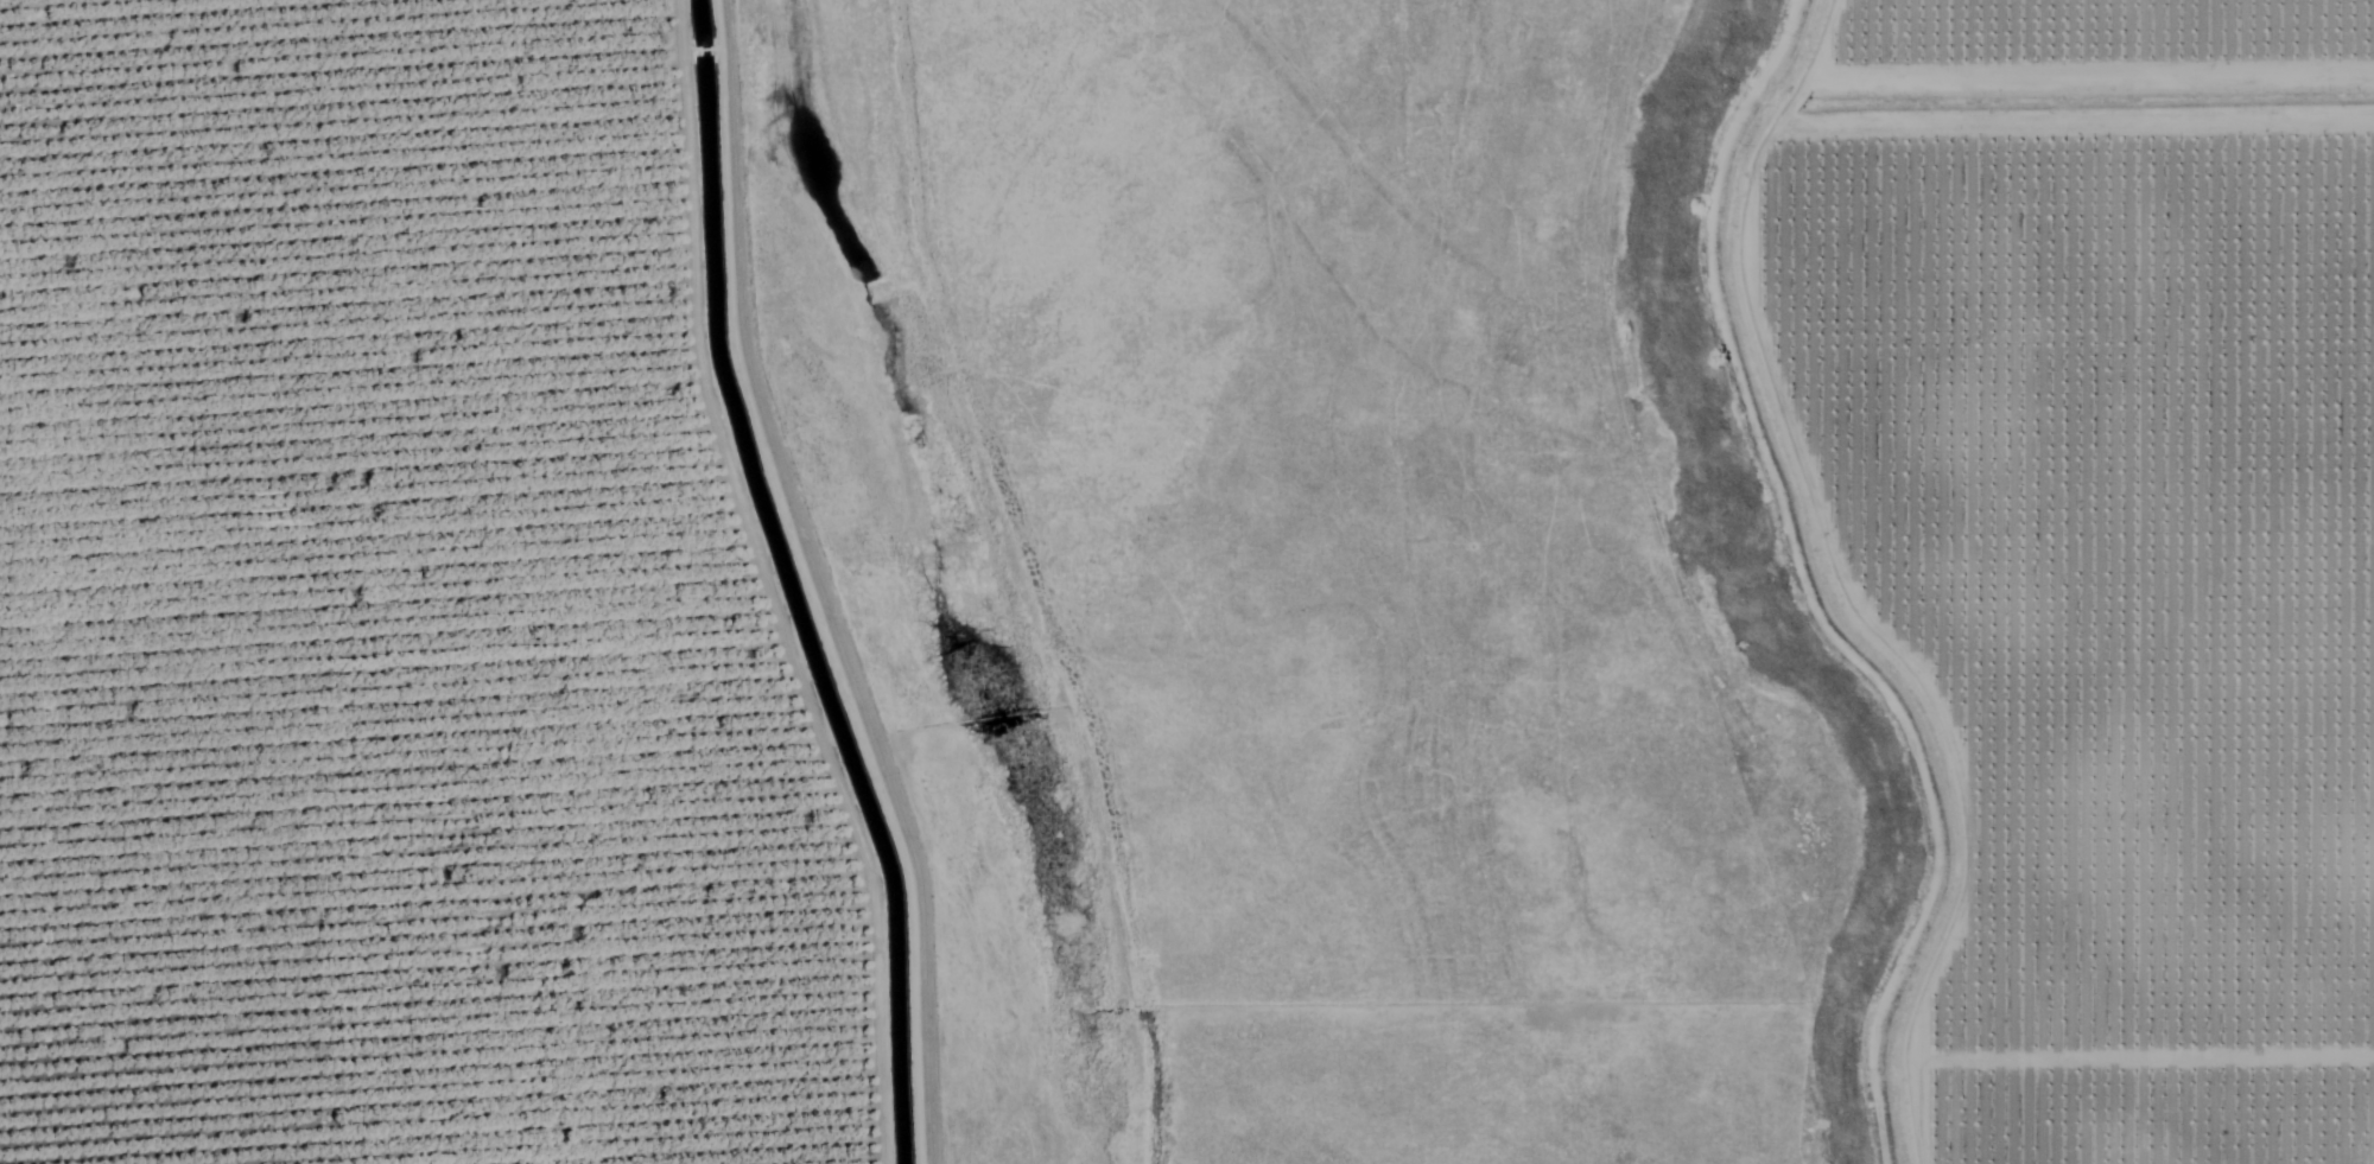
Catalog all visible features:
road: (2119, 134)
crop: (2107, 539)
road: (1956, 578)
crop: (407, 610)

